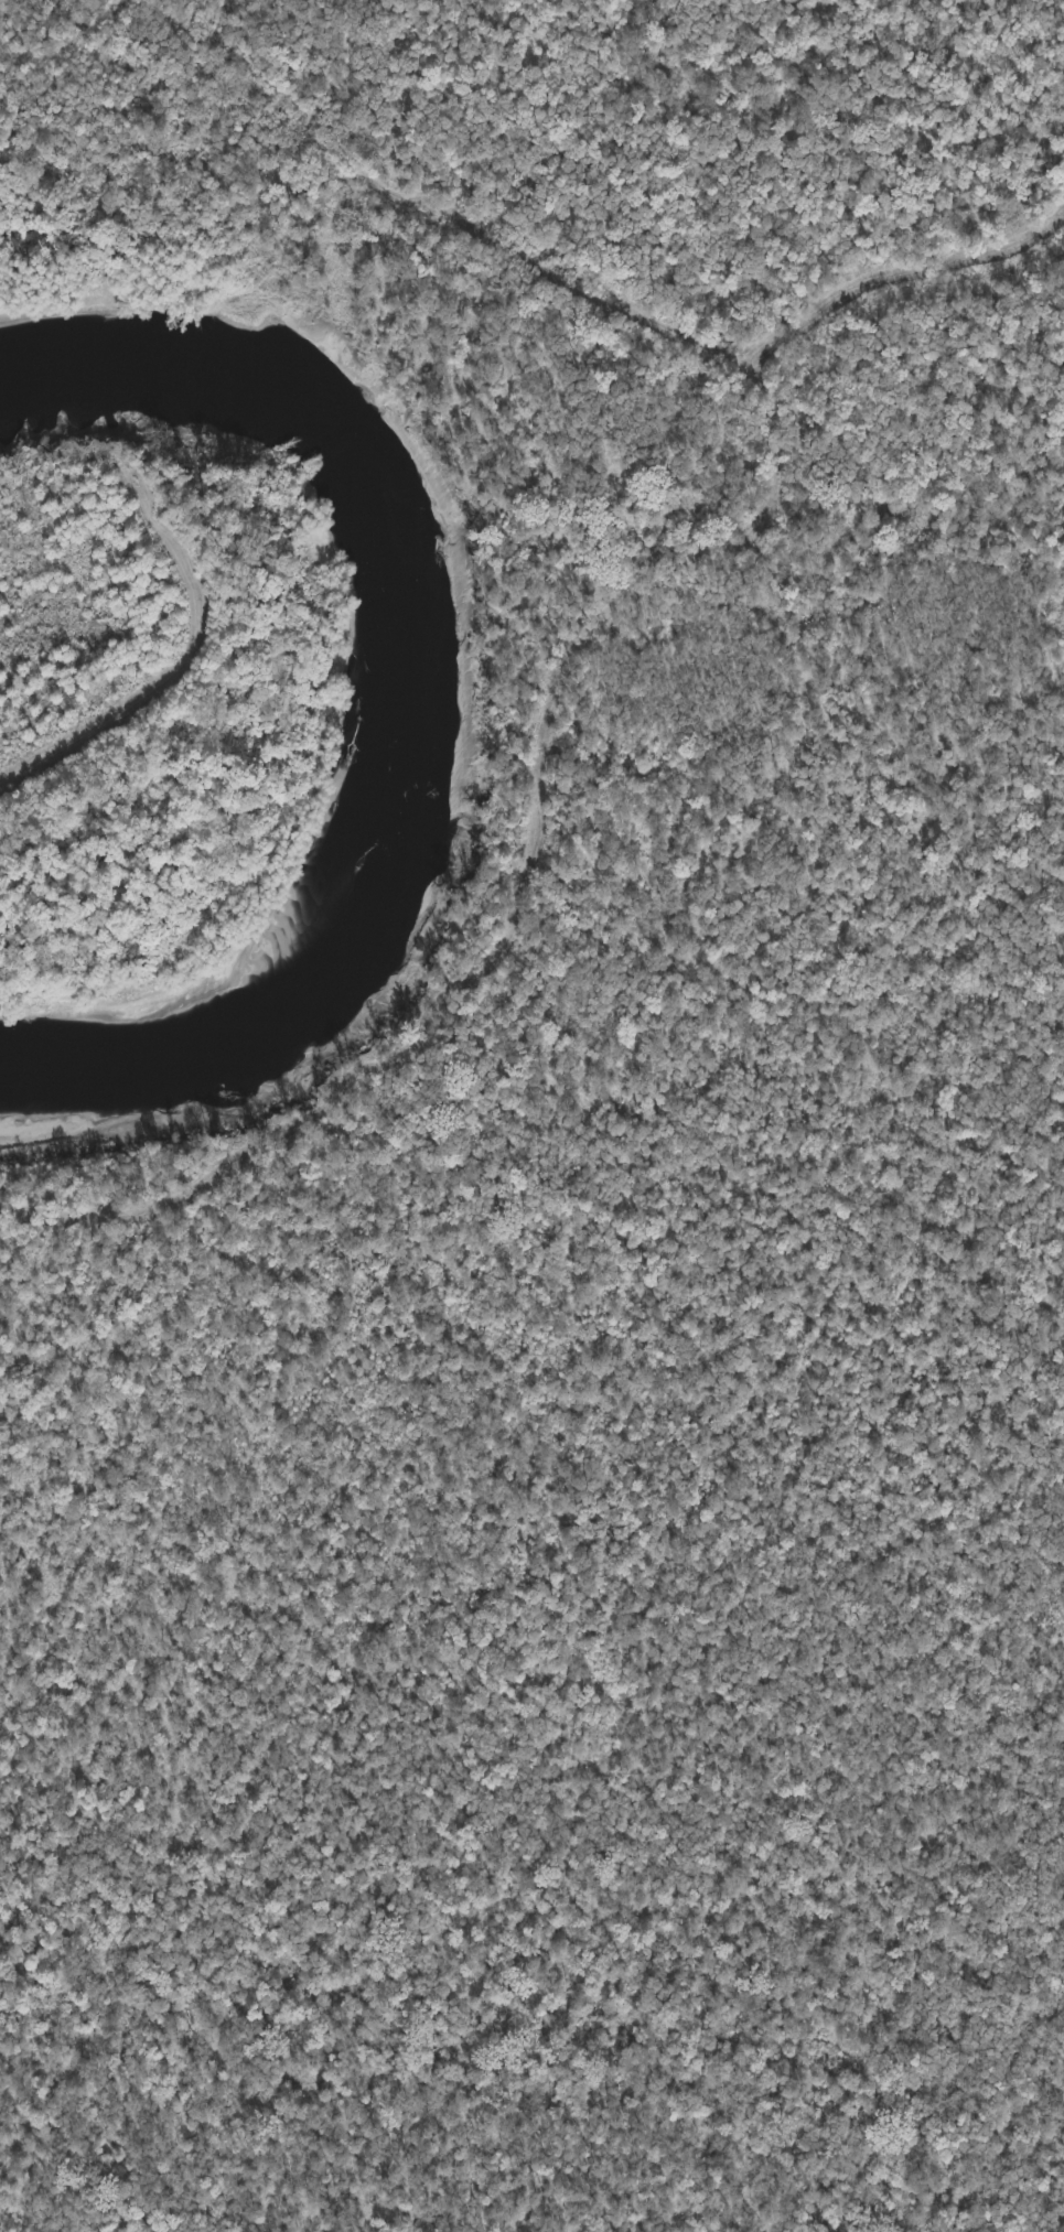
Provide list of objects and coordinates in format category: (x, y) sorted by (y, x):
river: (420, 675)

